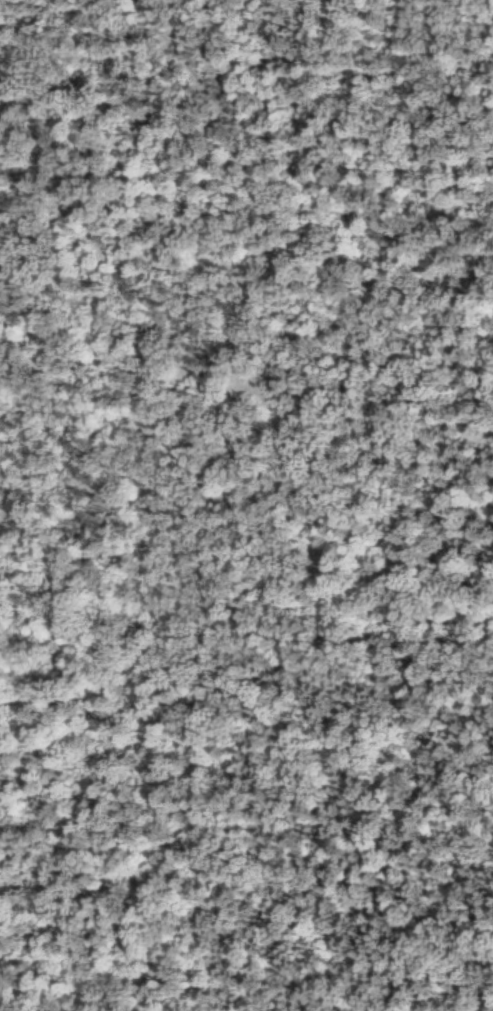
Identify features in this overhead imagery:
road: (246, 325)

